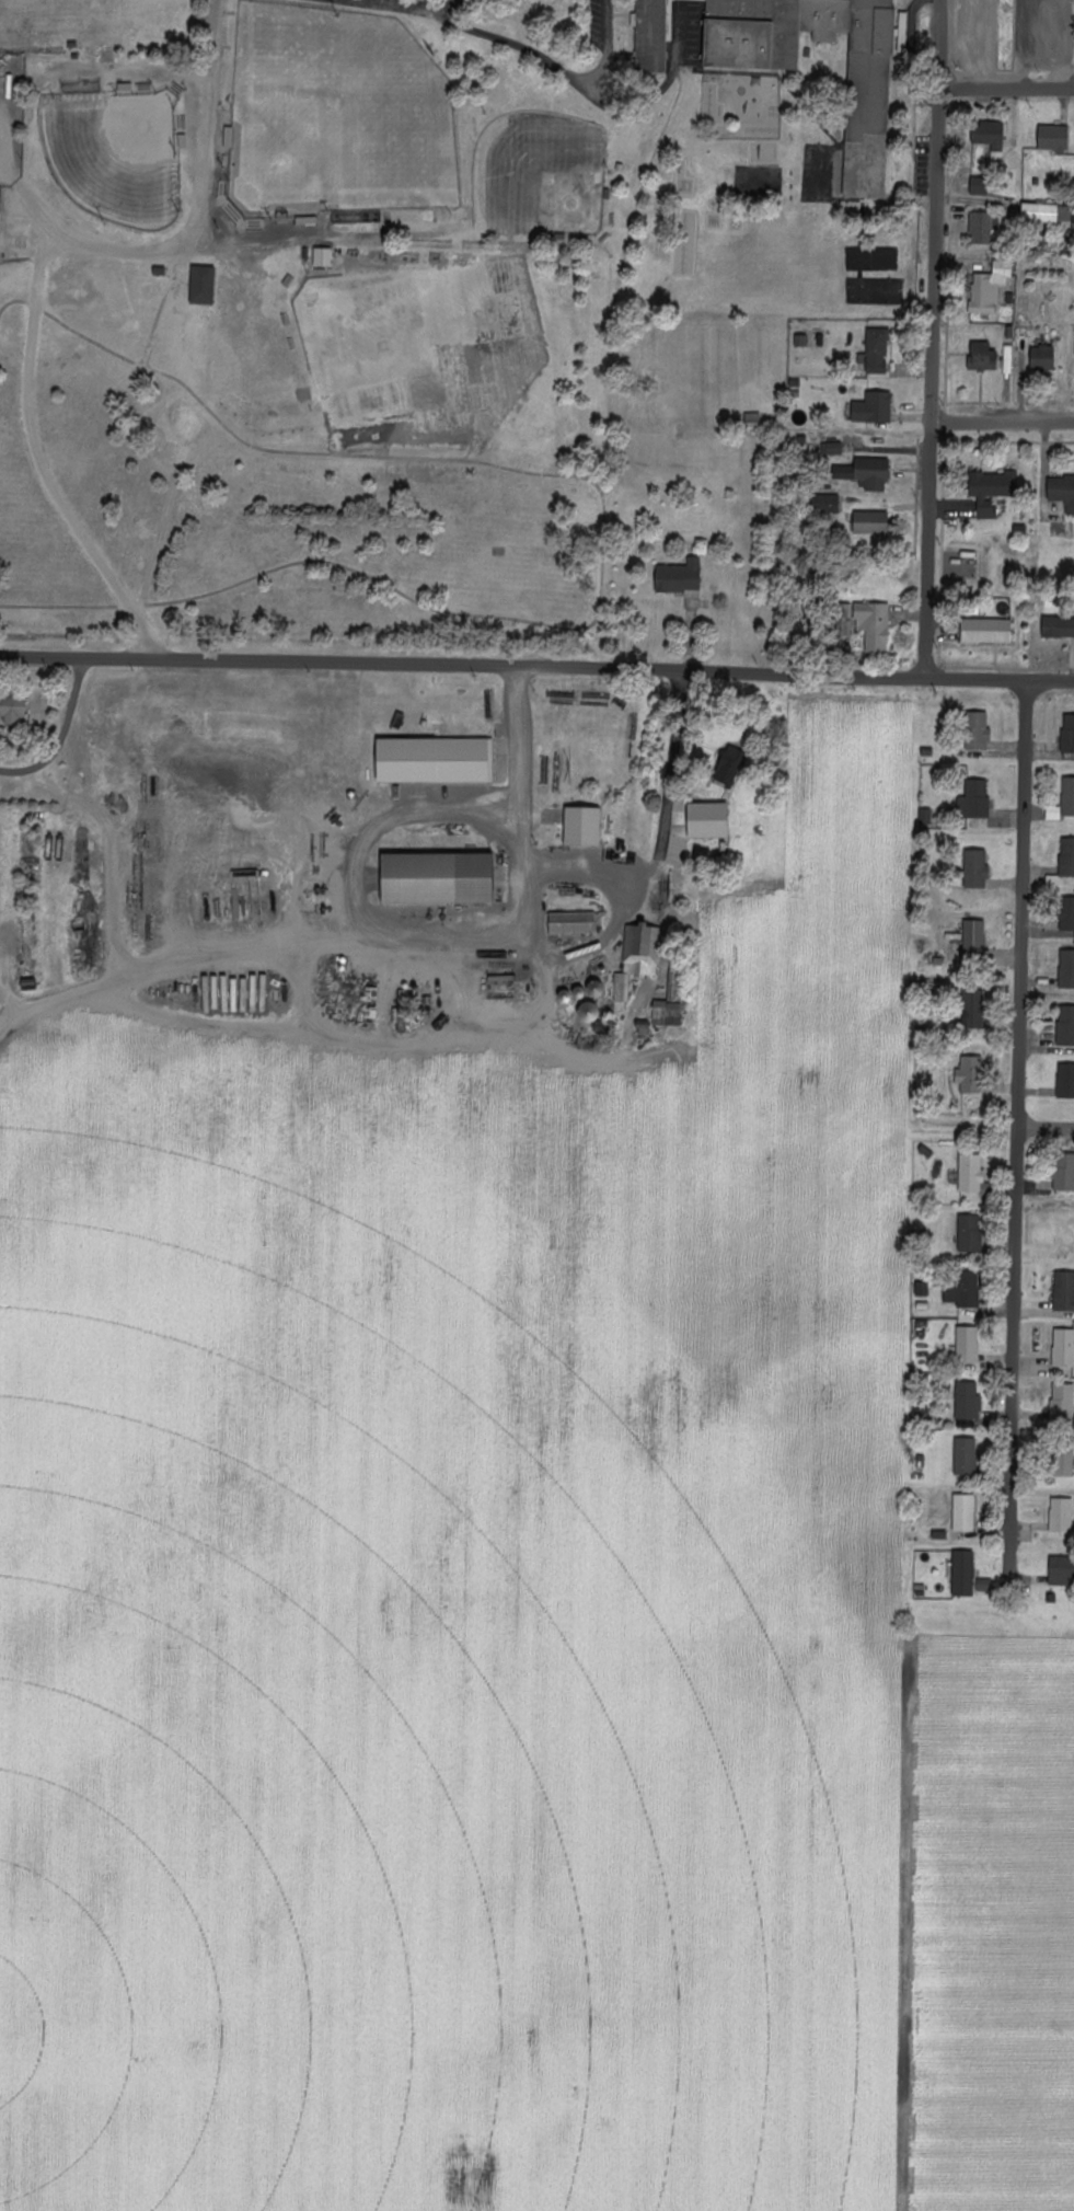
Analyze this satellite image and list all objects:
road: (406, 2)
road: (418, 5)
building: (767, 31)
building: (650, 36)
road: (527, 49)
road: (1007, 87)
building: (869, 97)
building: (990, 137)
building: (1053, 139)
building: (979, 185)
building: (1047, 214)
building: (981, 229)
road: (194, 241)
building: (322, 257)
building: (203, 285)
building: (989, 288)
road: (934, 337)
building: (876, 352)
building: (982, 357)
building: (1042, 359)
building: (874, 408)
road: (1003, 421)
building: (832, 449)
building: (865, 473)
building: (992, 491)
building: (1062, 492)
building: (824, 504)
building: (870, 522)
building: (680, 576)
building: (873, 624)
building: (1058, 626)
building: (986, 631)
road: (464, 663)
road: (1001, 679)
building: (12, 709)
building: (978, 730)
building: (1067, 734)
road: (61, 736)
building: (435, 759)
building: (730, 765)
road: (523, 767)
building: (1067, 796)
building: (974, 799)
building: (925, 817)
building: (708, 819)
building: (582, 826)
building: (1066, 856)
road: (614, 865)
building: (975, 868)
building: (438, 877)
building: (1066, 913)
building: (571, 922)
building: (974, 937)
building: (637, 959)
building: (1066, 969)
building: (670, 1002)
building: (972, 1010)
building: (590, 1011)
building: (1065, 1025)
building: (970, 1075)
building: (1065, 1081)
road: (1047, 1126)
road: (1018, 1131)
building: (1064, 1172)
building: (971, 1173)
building: (969, 1233)
building: (922, 1288)
building: (961, 1289)
building: (1063, 1291)
building: (968, 1345)
building: (1063, 1347)
building: (968, 1401)
building: (1062, 1403)
building: (966, 1459)
building: (1063, 1461)
building: (963, 1512)
building: (1061, 1515)
building: (1061, 1570)
building: (962, 1574)

